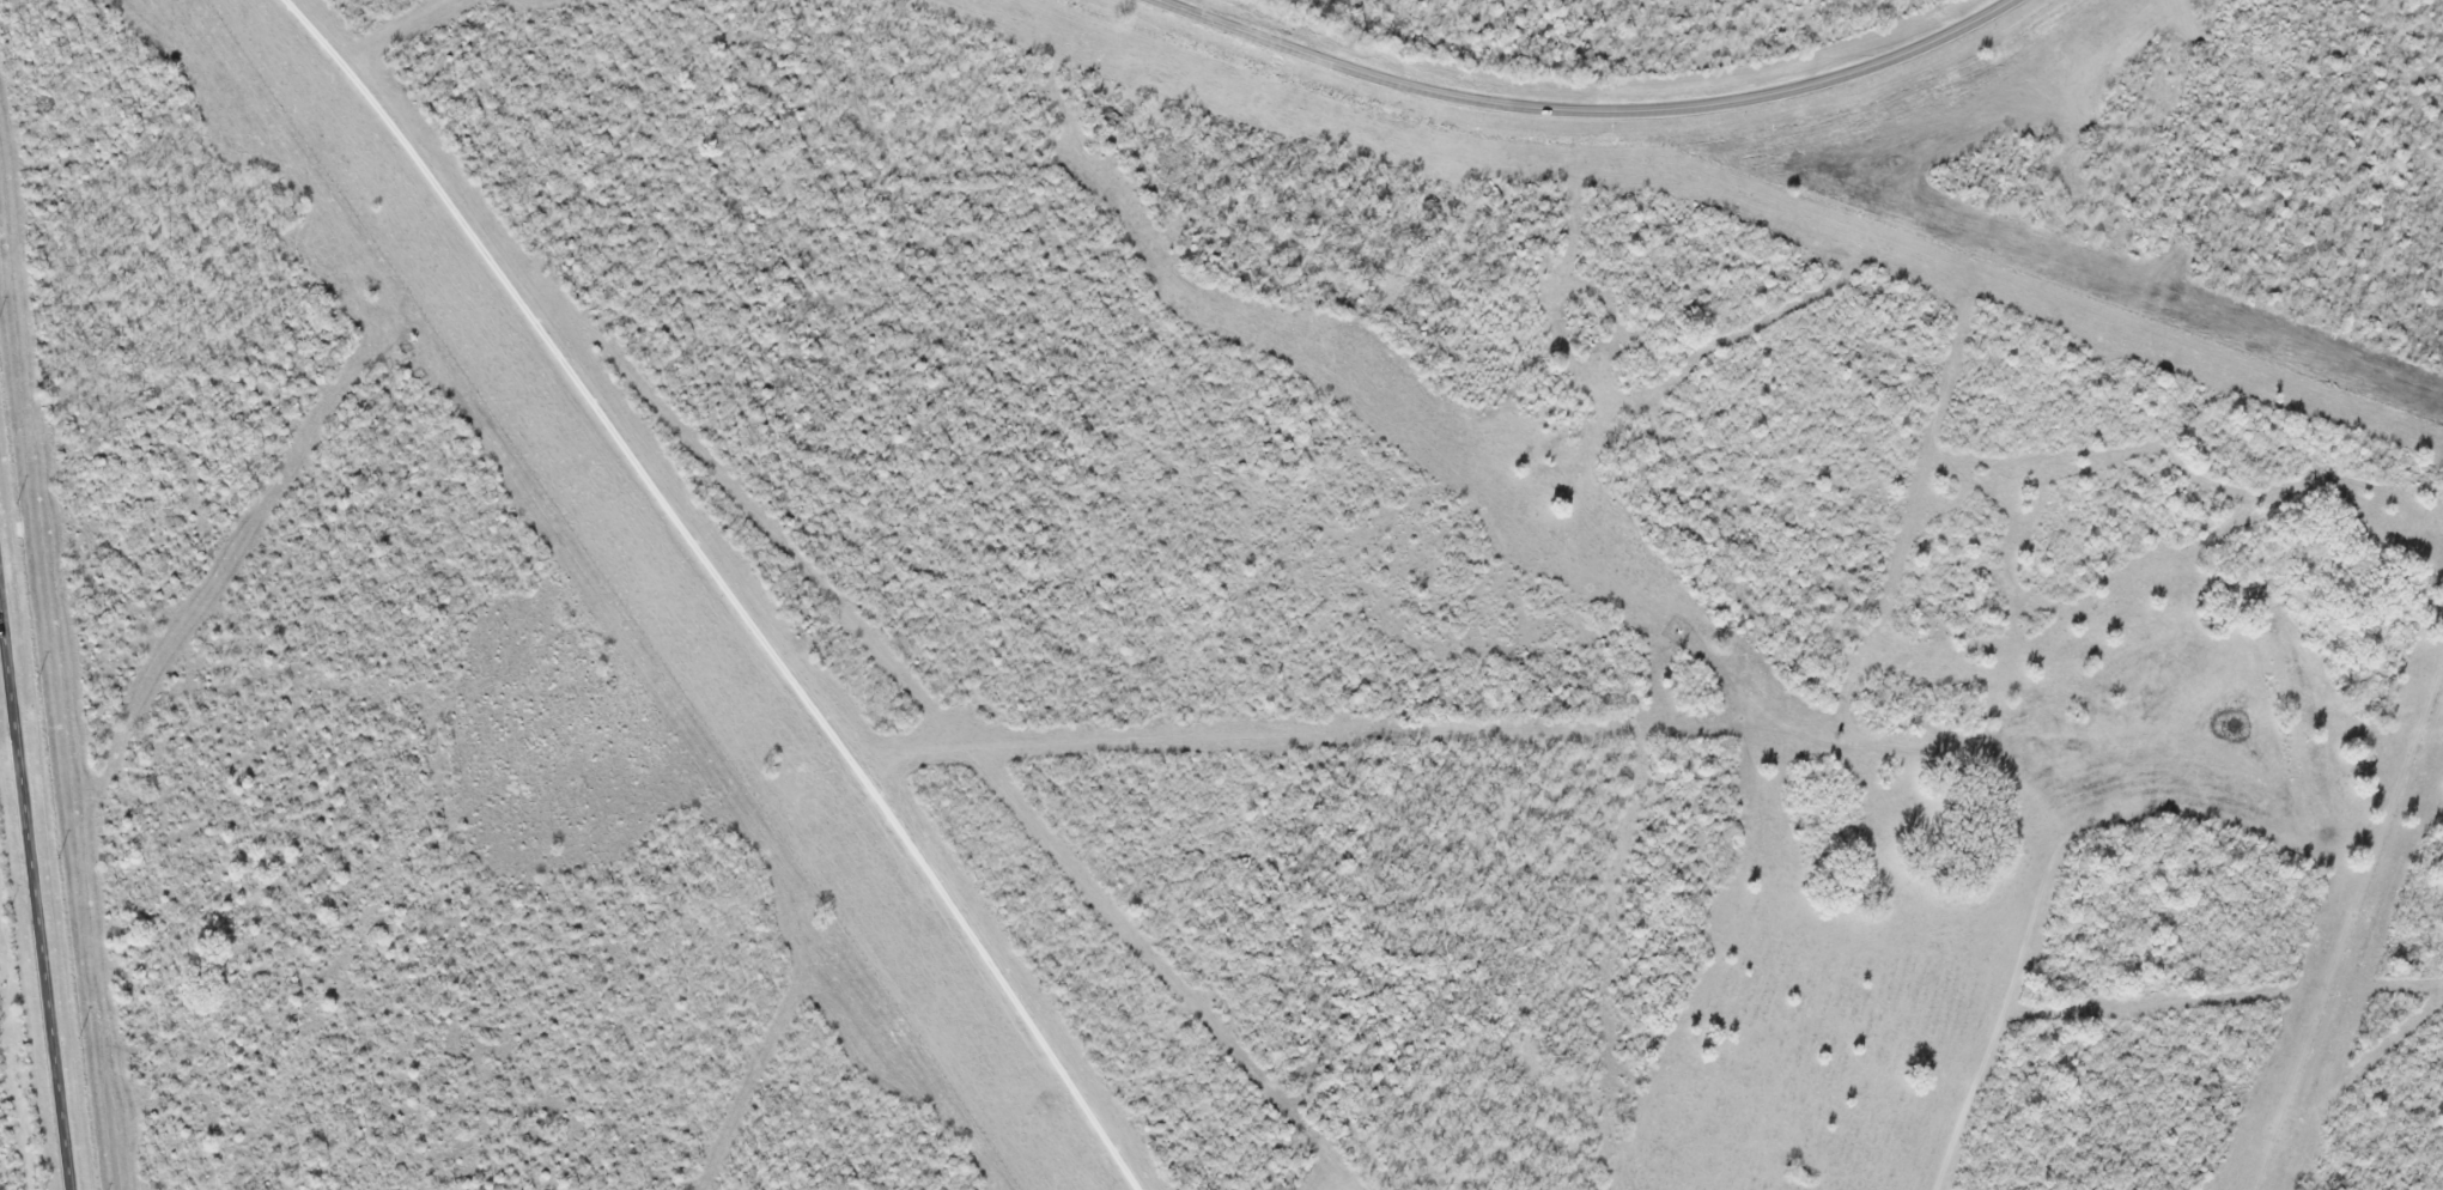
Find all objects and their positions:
road: (1587, 114)
road: (2162, 292)
road: (36, 878)

